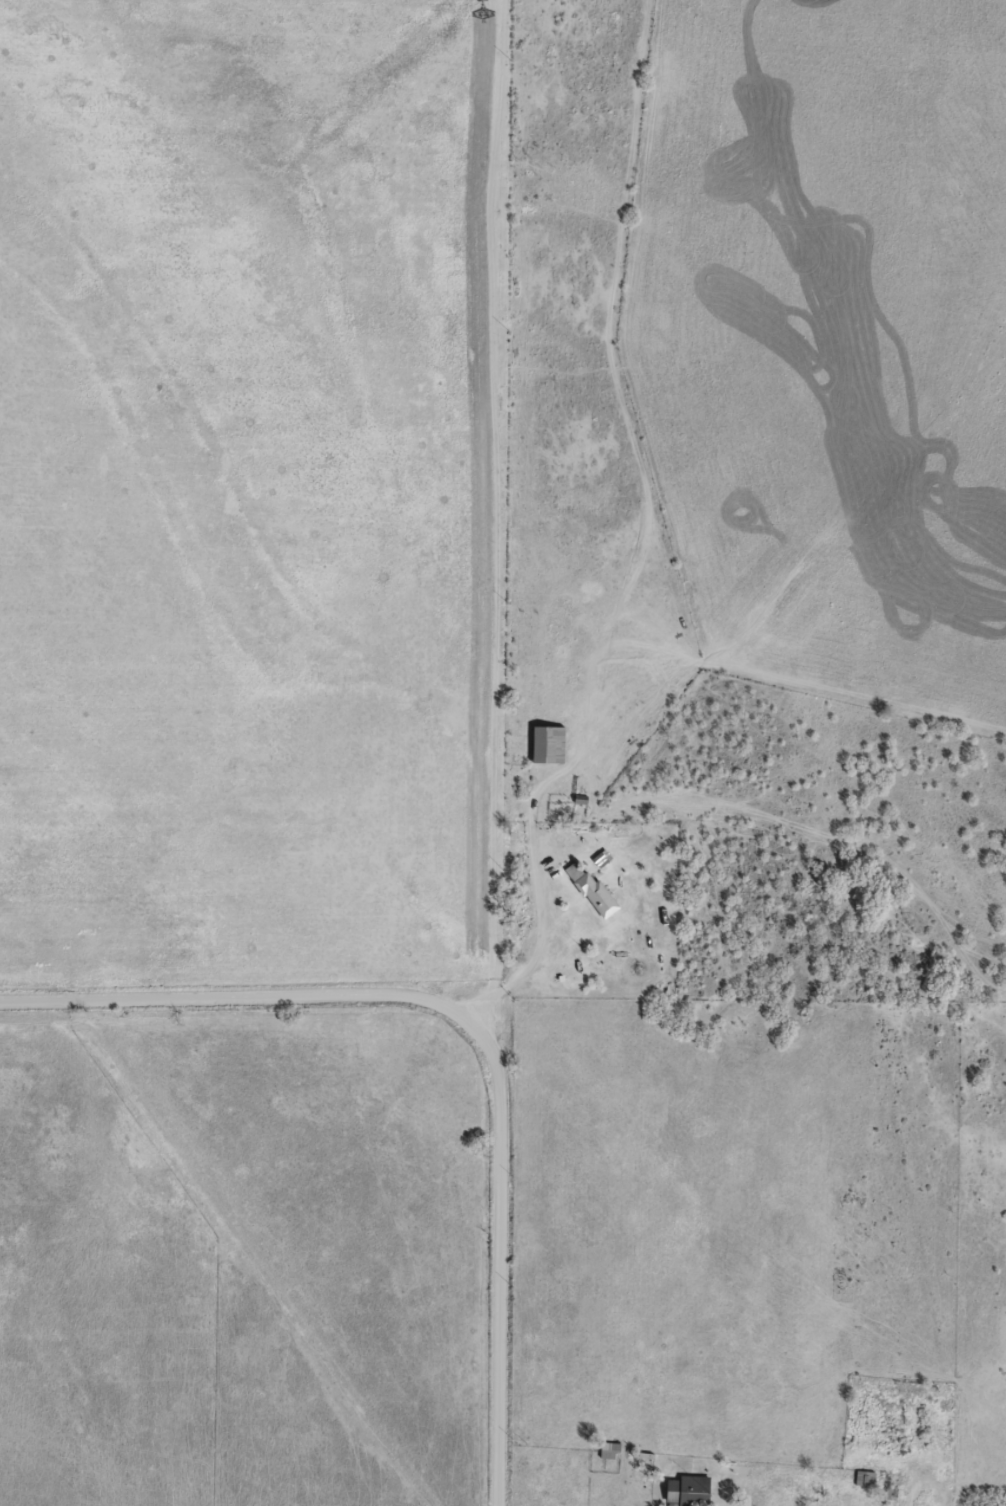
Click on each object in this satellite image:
road: (513, 520)
building: (549, 744)
building: (591, 889)
road: (477, 1026)
building: (610, 1449)
building: (690, 1490)

